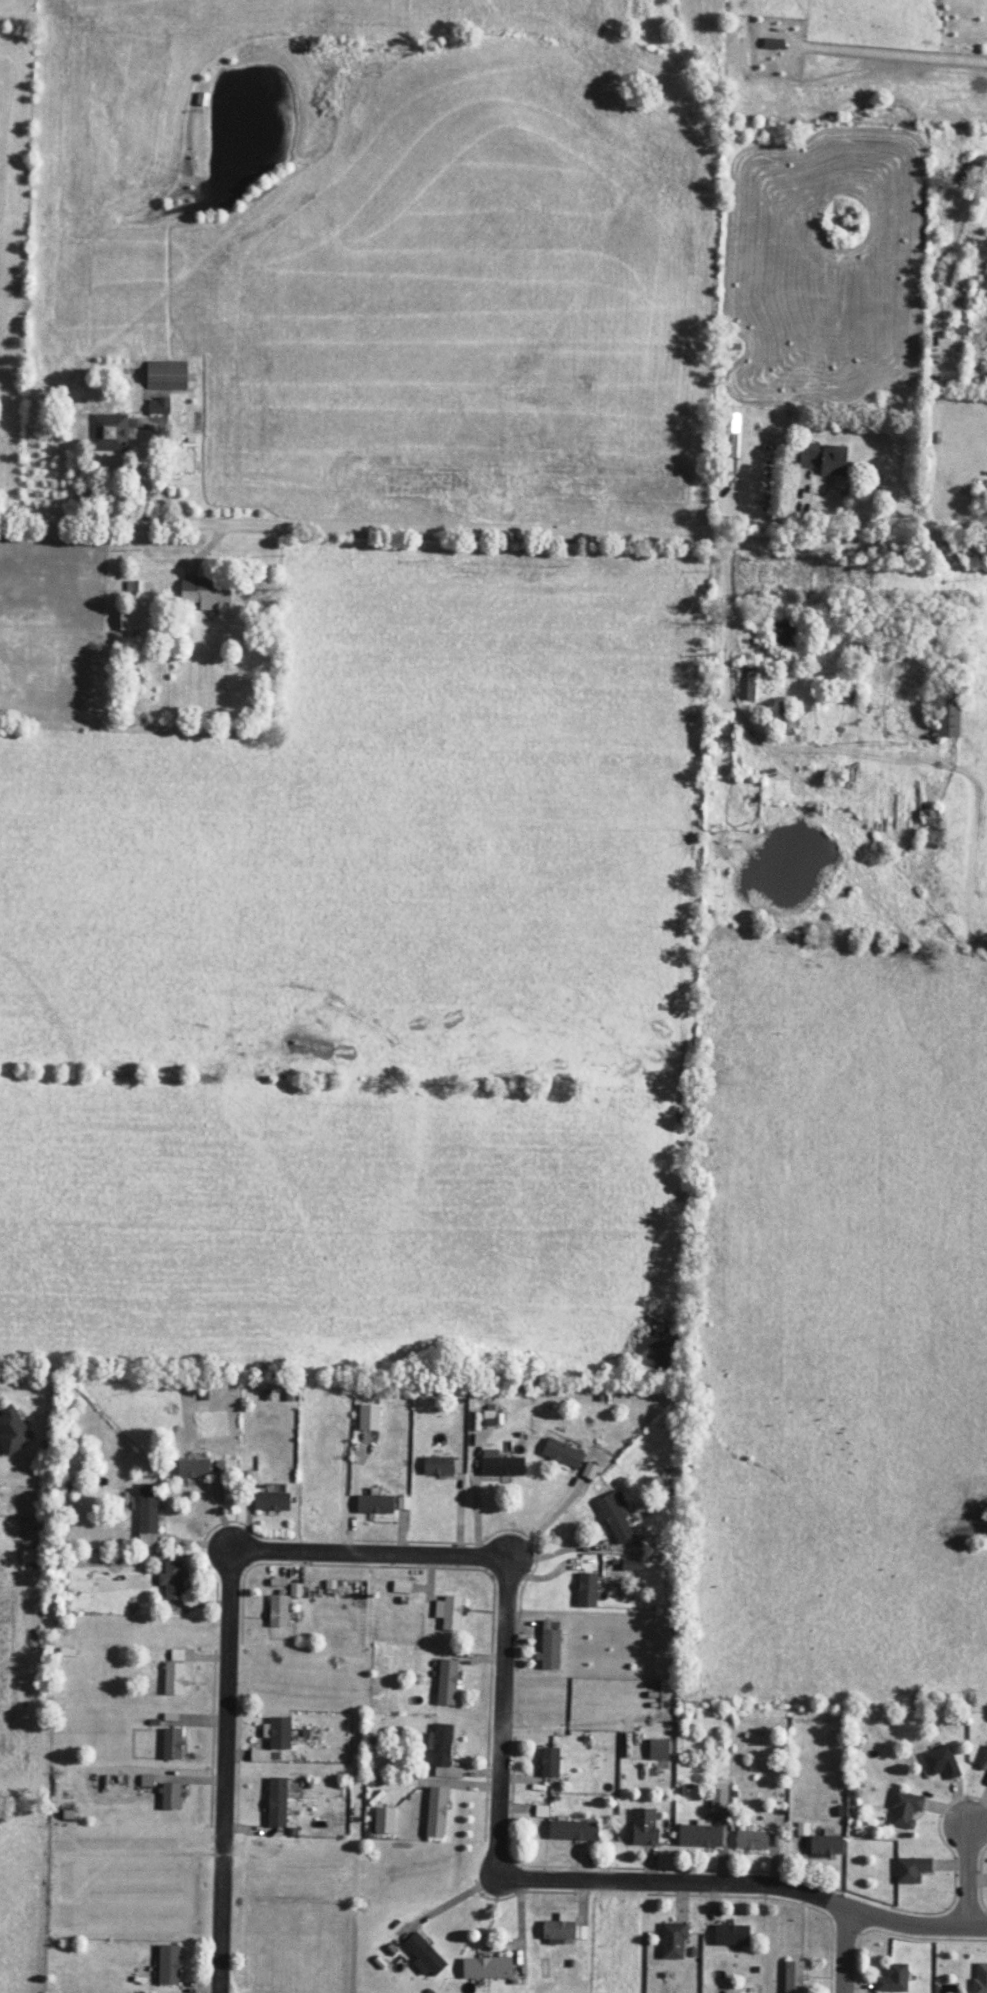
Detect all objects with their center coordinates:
building: (166, 375)
building: (158, 406)
building: (108, 434)
building: (731, 435)
building: (823, 458)
road: (493, 533)
building: (137, 586)
building: (205, 592)
building: (782, 634)
building: (746, 683)
building: (946, 713)
building: (787, 725)
building: (721, 738)
building: (929, 826)
building: (368, 1417)
building: (12, 1431)
building: (562, 1453)
building: (499, 1464)
building: (437, 1466)
building: (193, 1469)
building: (589, 1471)
building: (249, 1477)
building: (271, 1501)
building: (374, 1503)
building: (147, 1515)
building: (614, 1516)
road: (256, 1549)
building: (629, 1565)
building: (171, 1580)
building: (401, 1587)
building: (586, 1590)
building: (277, 1611)
building: (449, 1612)
building: (549, 1645)
building: (176, 1655)
building: (173, 1678)
building: (446, 1682)
building: (277, 1732)
building: (171, 1744)
building: (658, 1749)
building: (441, 1752)
building: (259, 1756)
building: (983, 1760)
building: (549, 1762)
building: (940, 1762)
building: (986, 1780)
building: (718, 1795)
building: (169, 1796)
building: (276, 1802)
building: (904, 1808)
building: (435, 1812)
building: (383, 1820)
building: (643, 1827)
building: (572, 1830)
building: (699, 1834)
building: (751, 1840)
building: (825, 1845)
building: (911, 1869)
road: (971, 1875)
road: (632, 1879)
road: (918, 1922)
building: (730, 1935)
building: (672, 1940)
road: (848, 1954)
building: (423, 1955)
building: (168, 1965)
building: (486, 1968)
building: (793, 1977)
building: (892, 1979)
building: (980, 1979)

